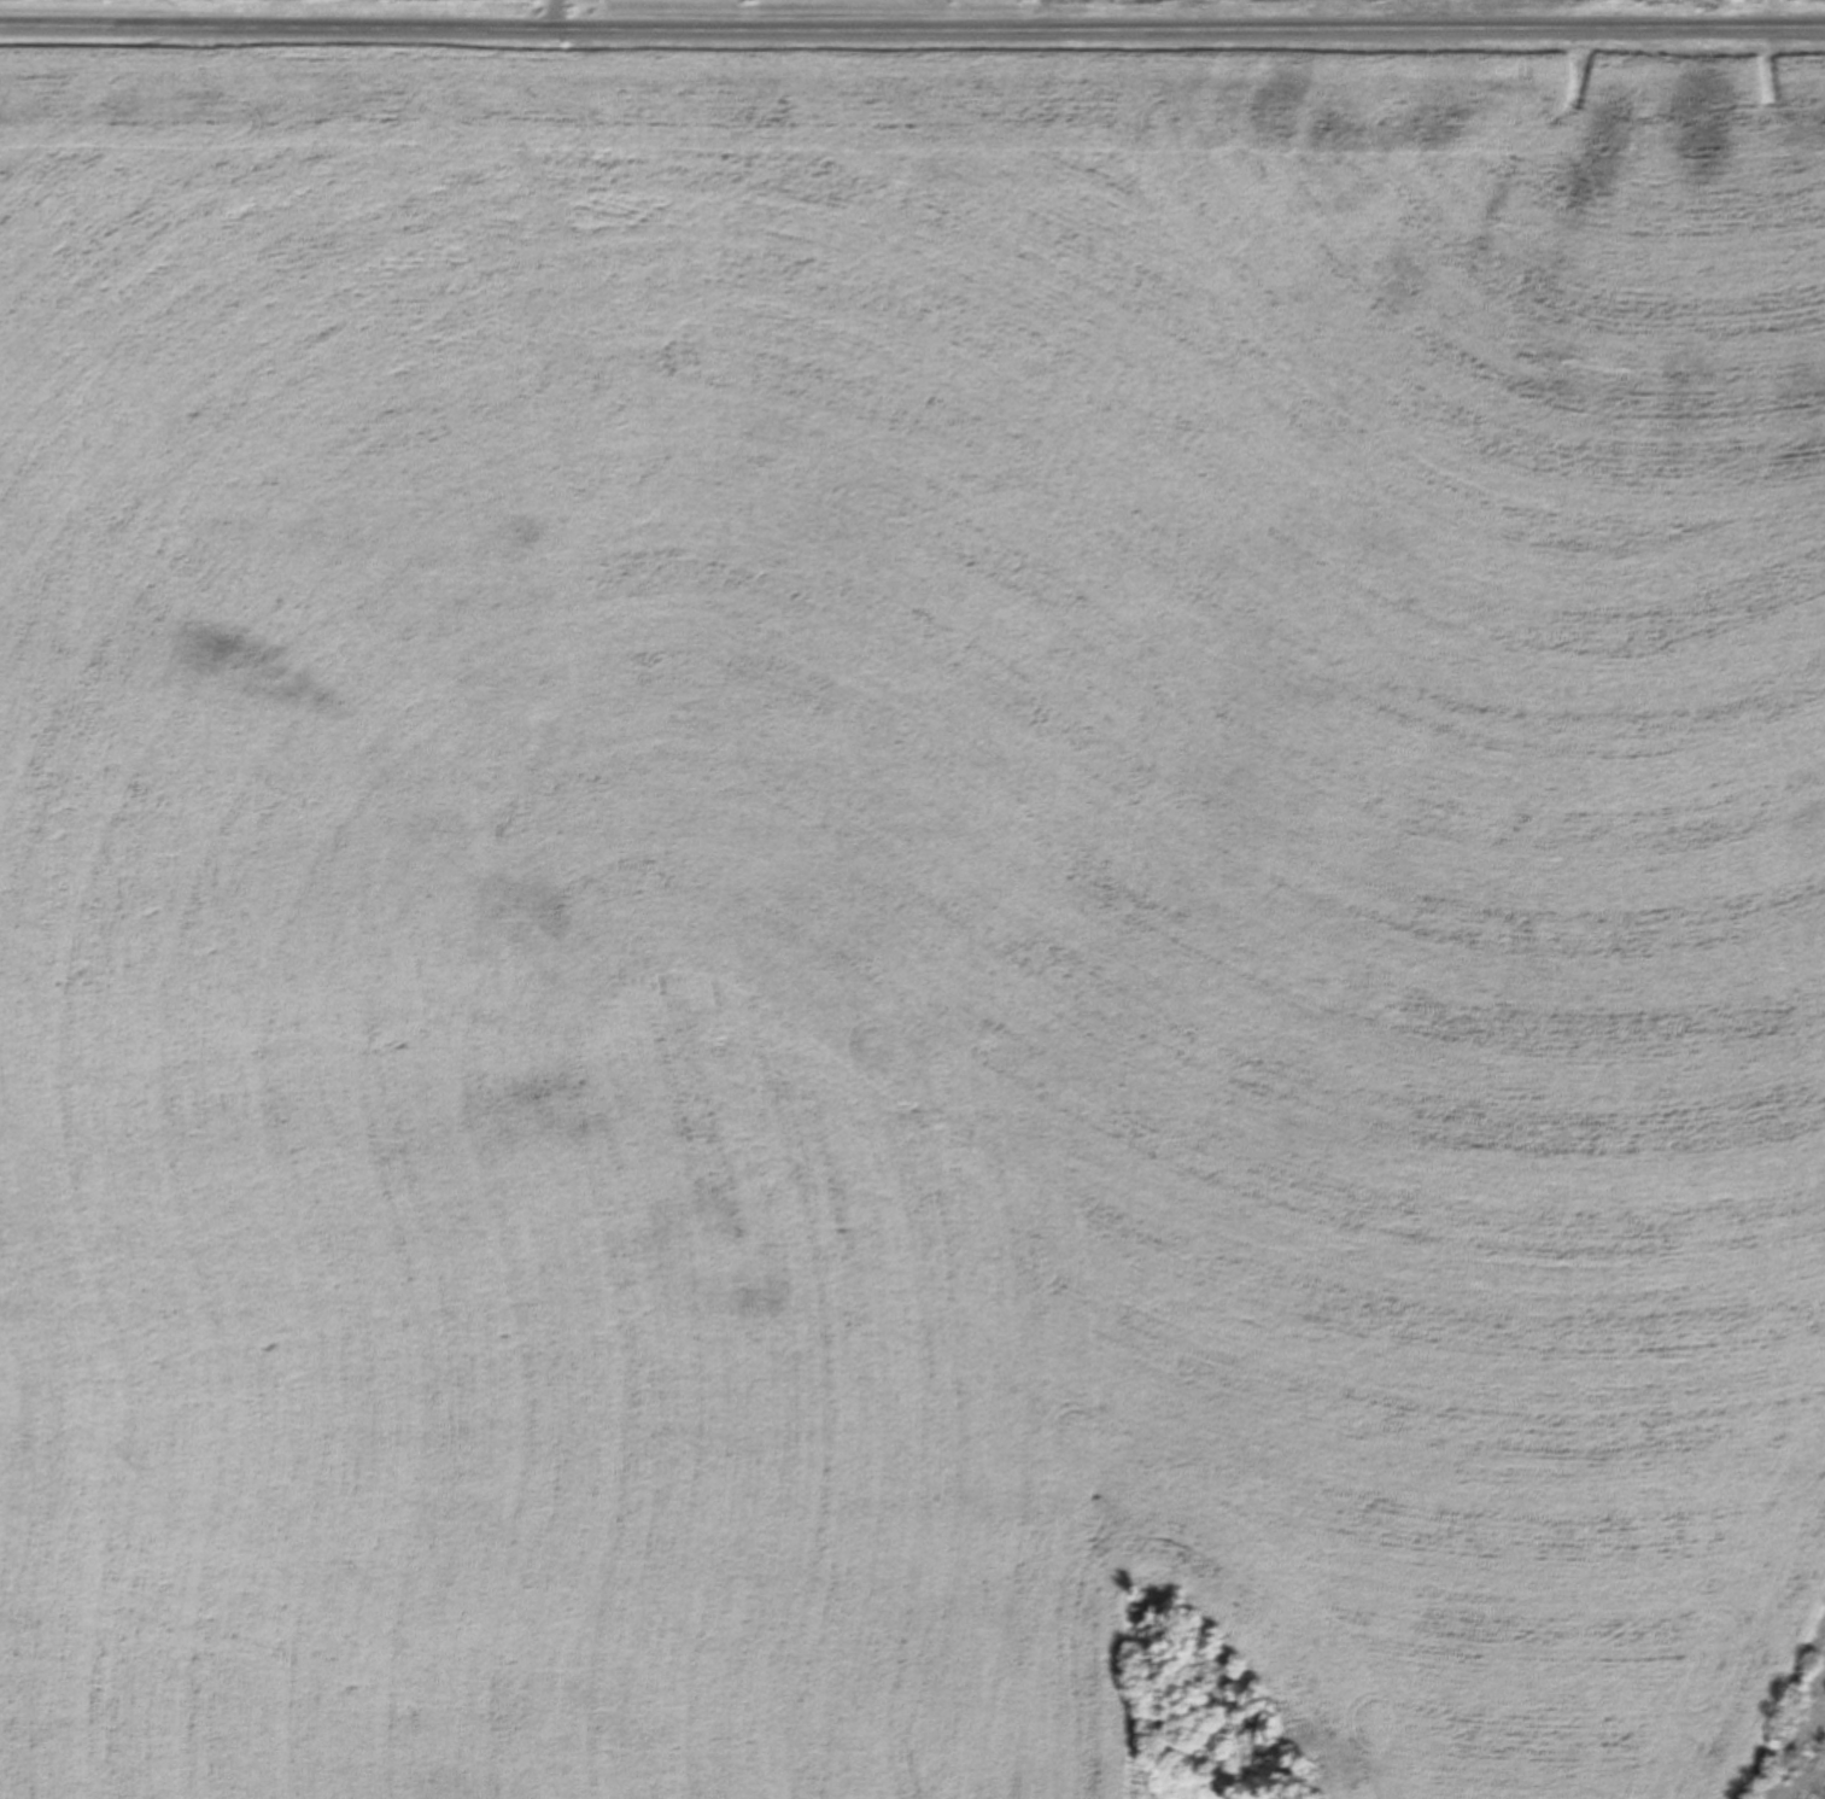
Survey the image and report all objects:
road: (546, 17)
road: (912, 33)

